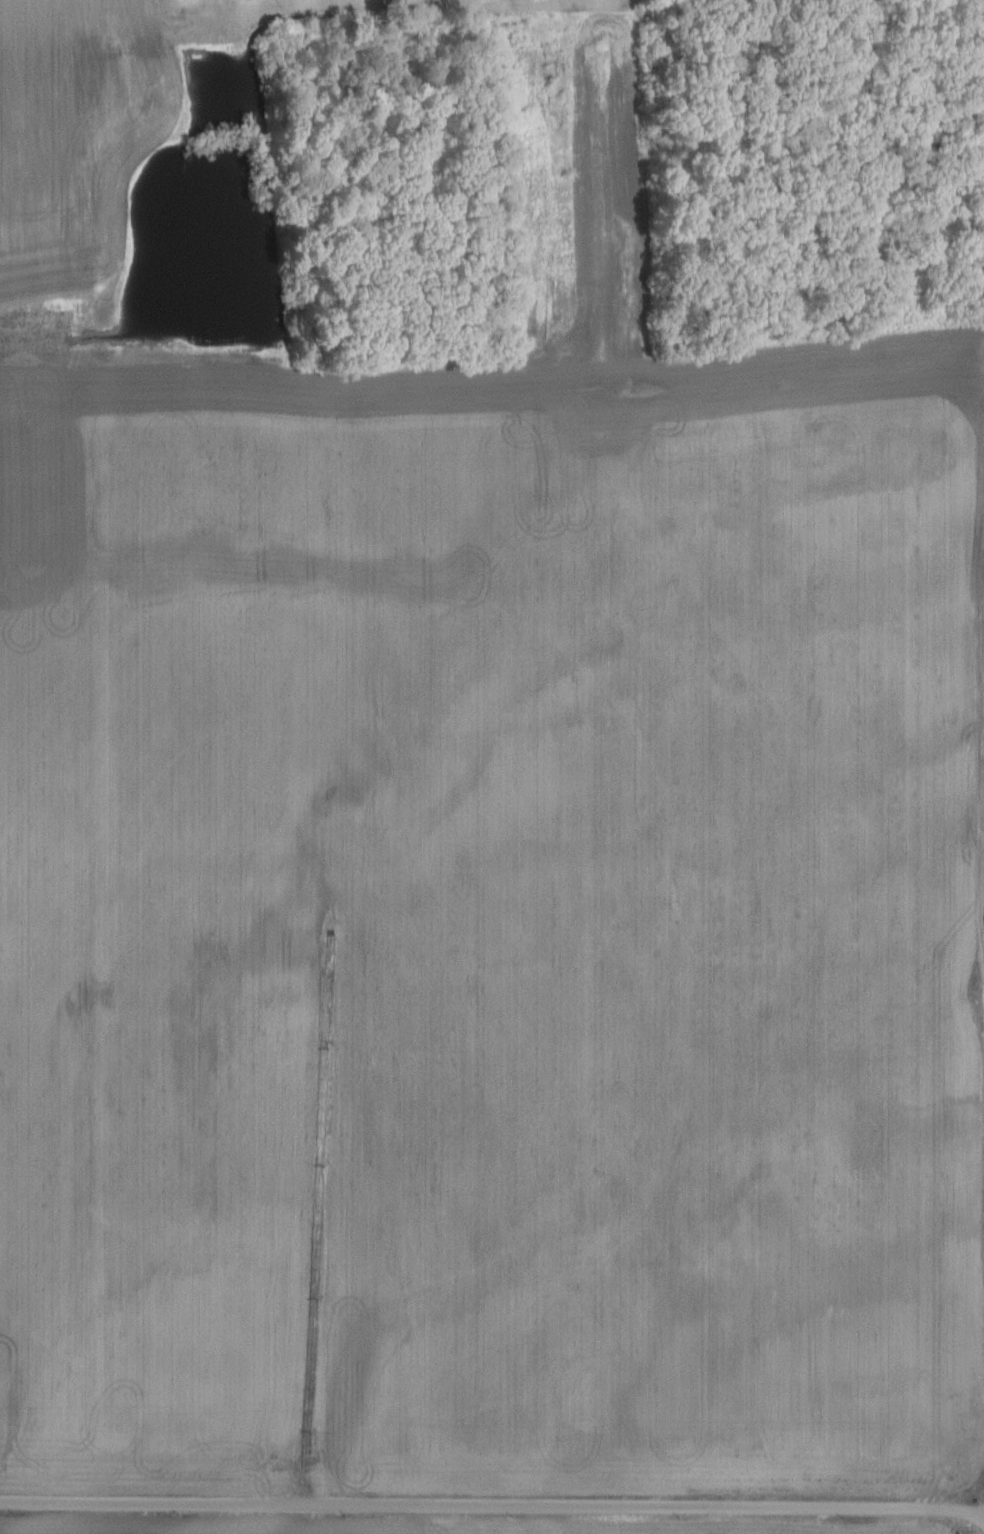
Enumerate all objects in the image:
road: (980, 831)
road: (492, 1506)

